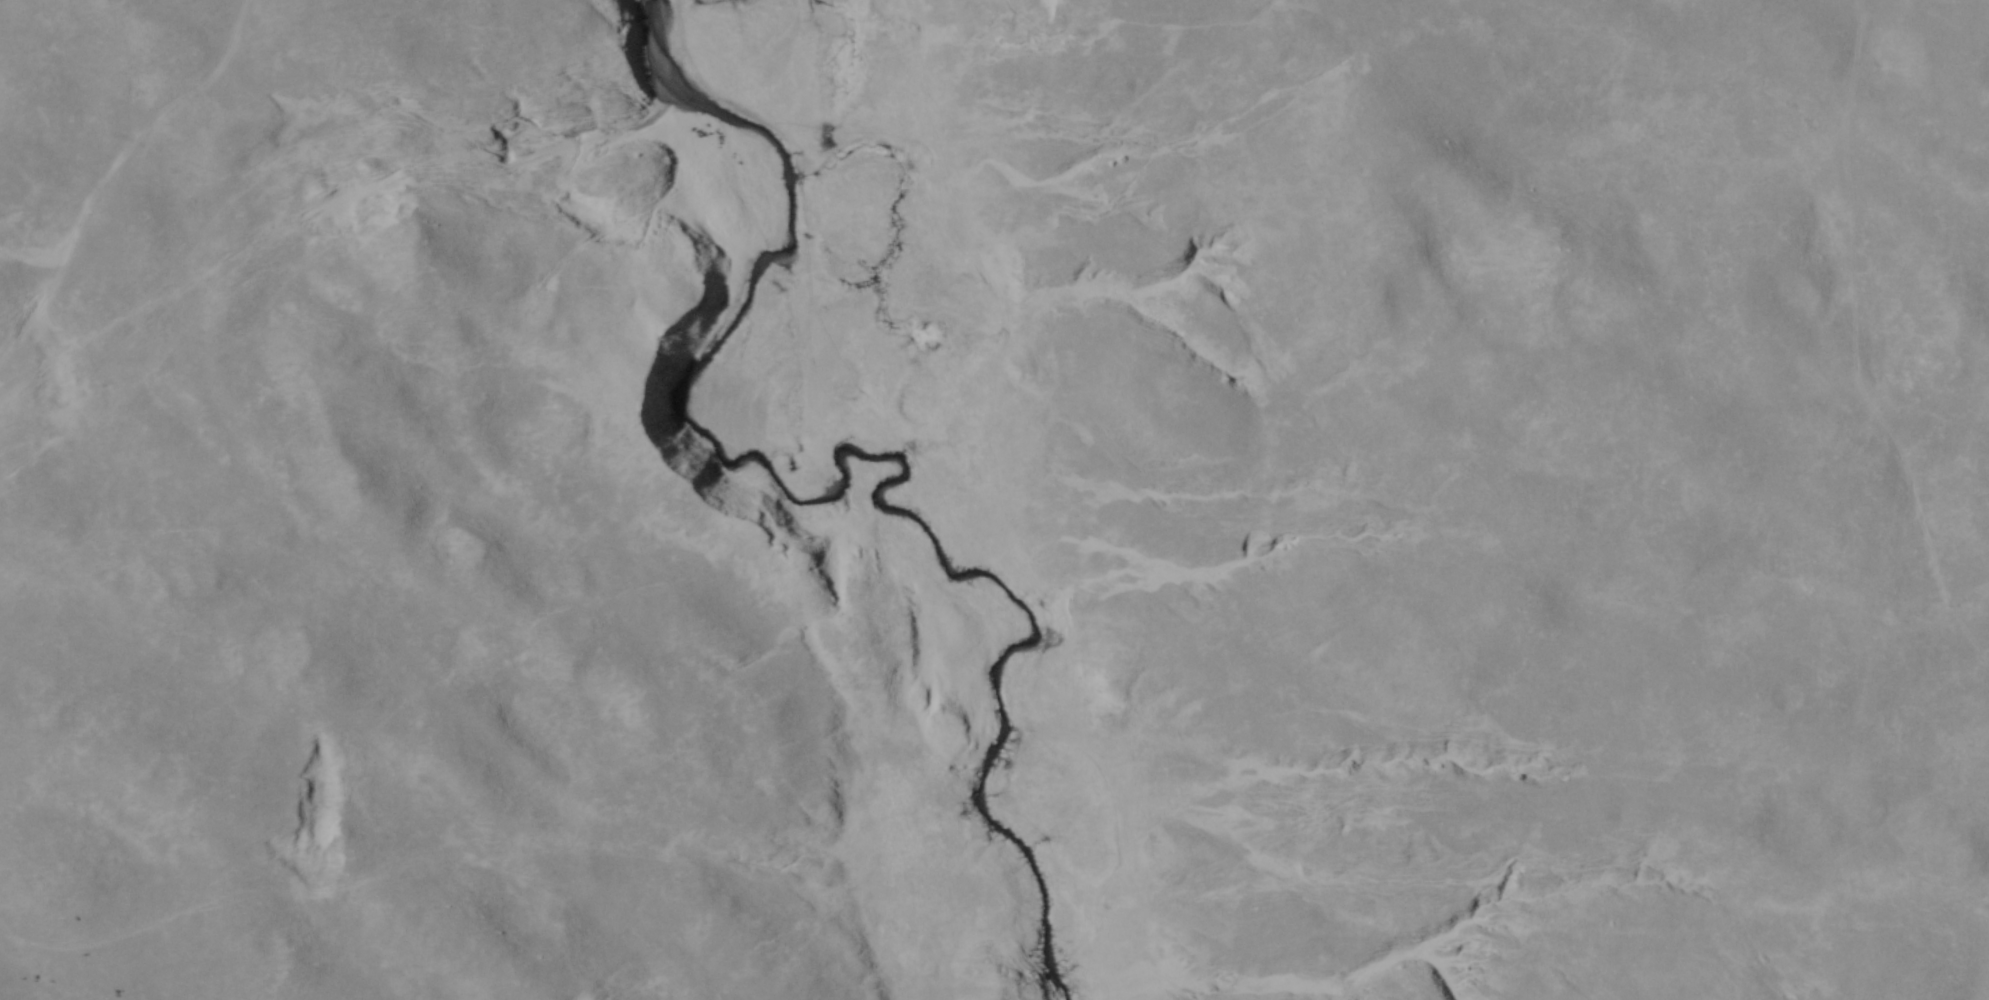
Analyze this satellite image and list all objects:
river: (759, 466)

